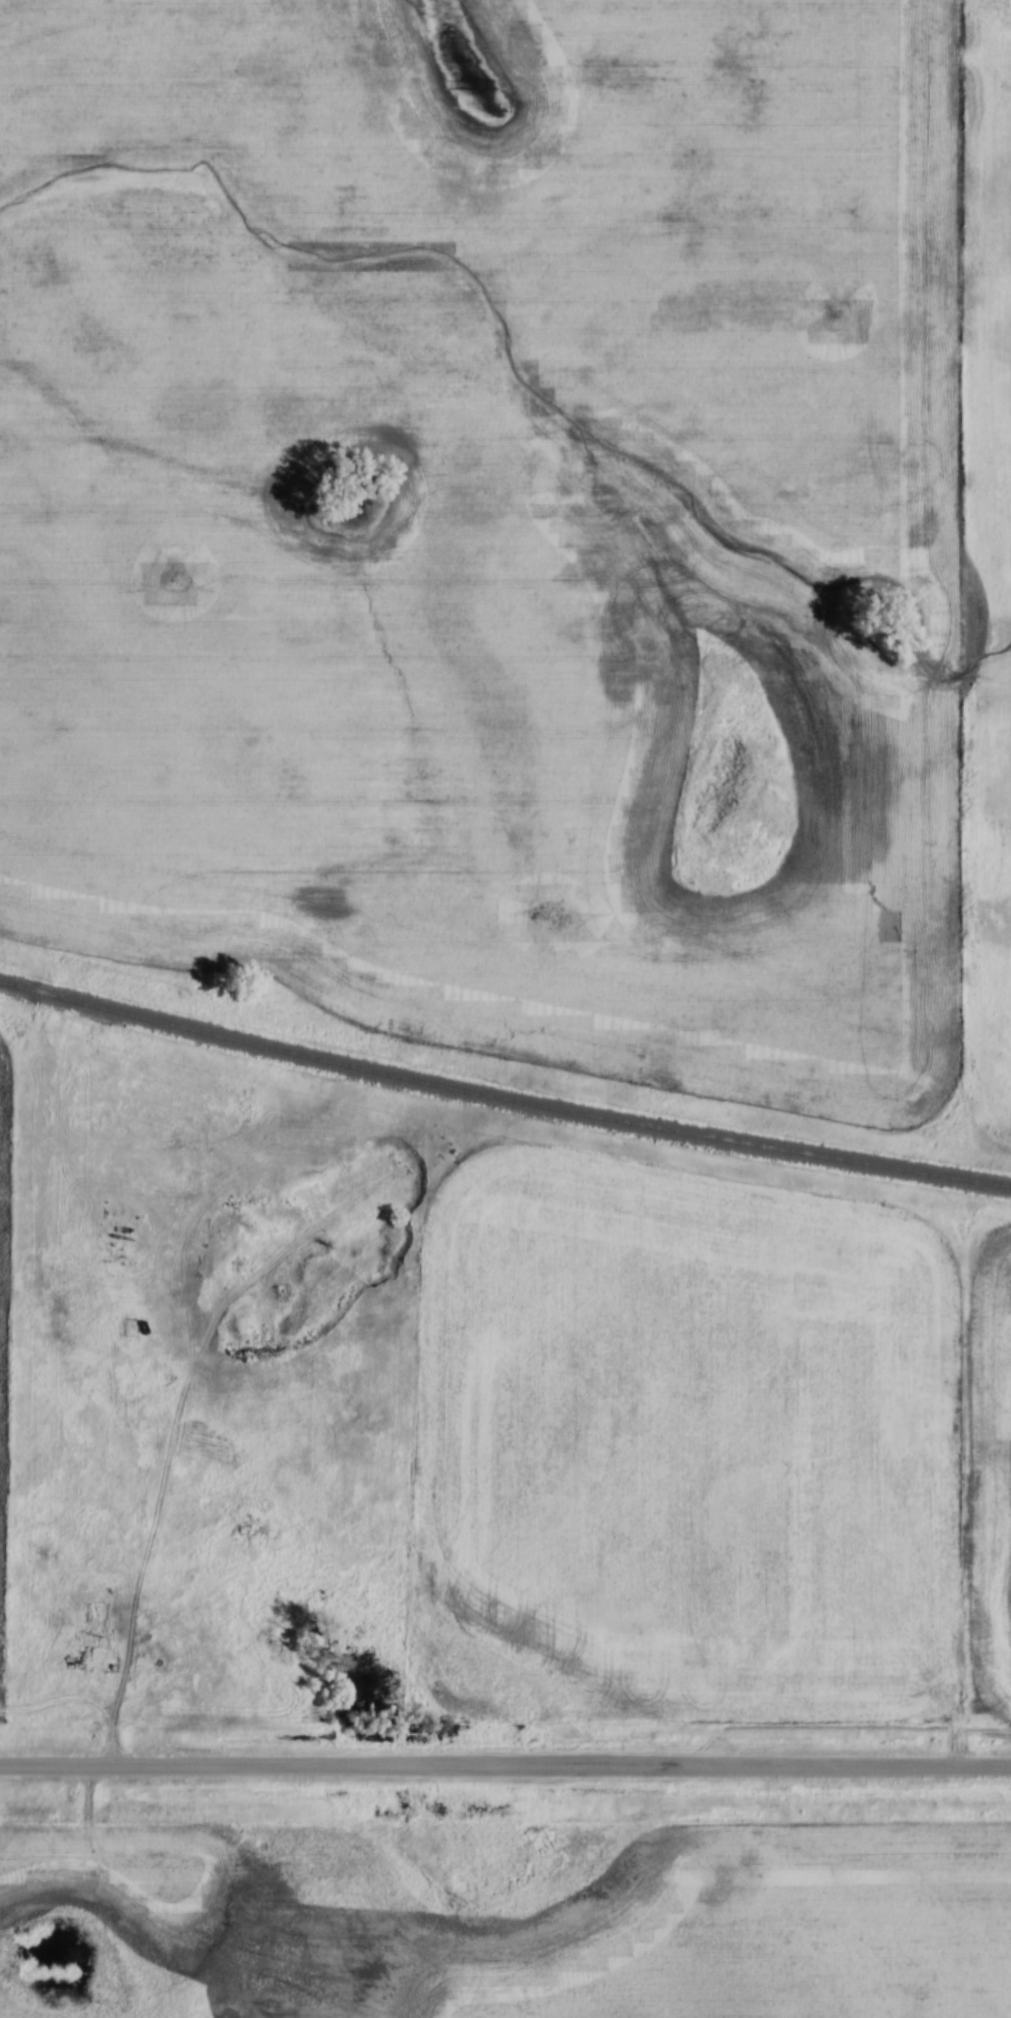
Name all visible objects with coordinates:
railway: (502, 1096)
crop: (679, 1451)
road: (505, 1764)

